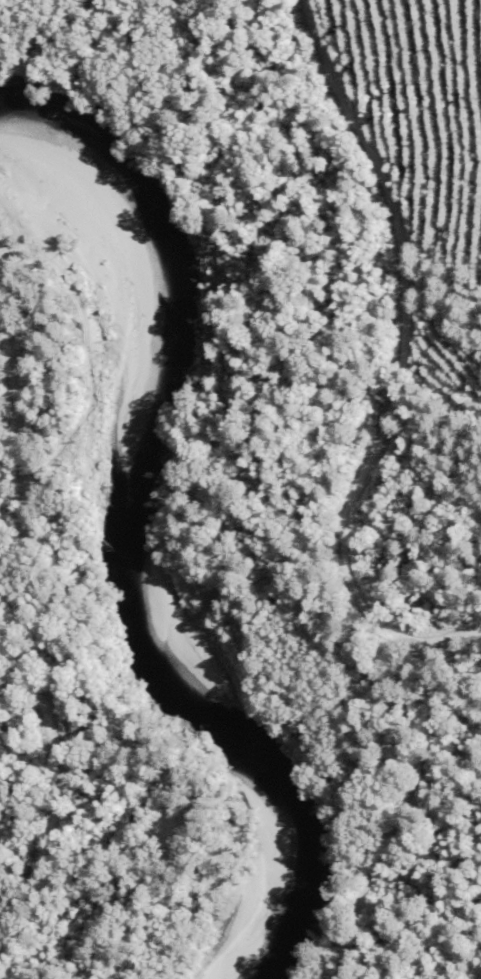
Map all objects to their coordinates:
road: (335, 503)
river: (136, 526)
road: (51, 799)

